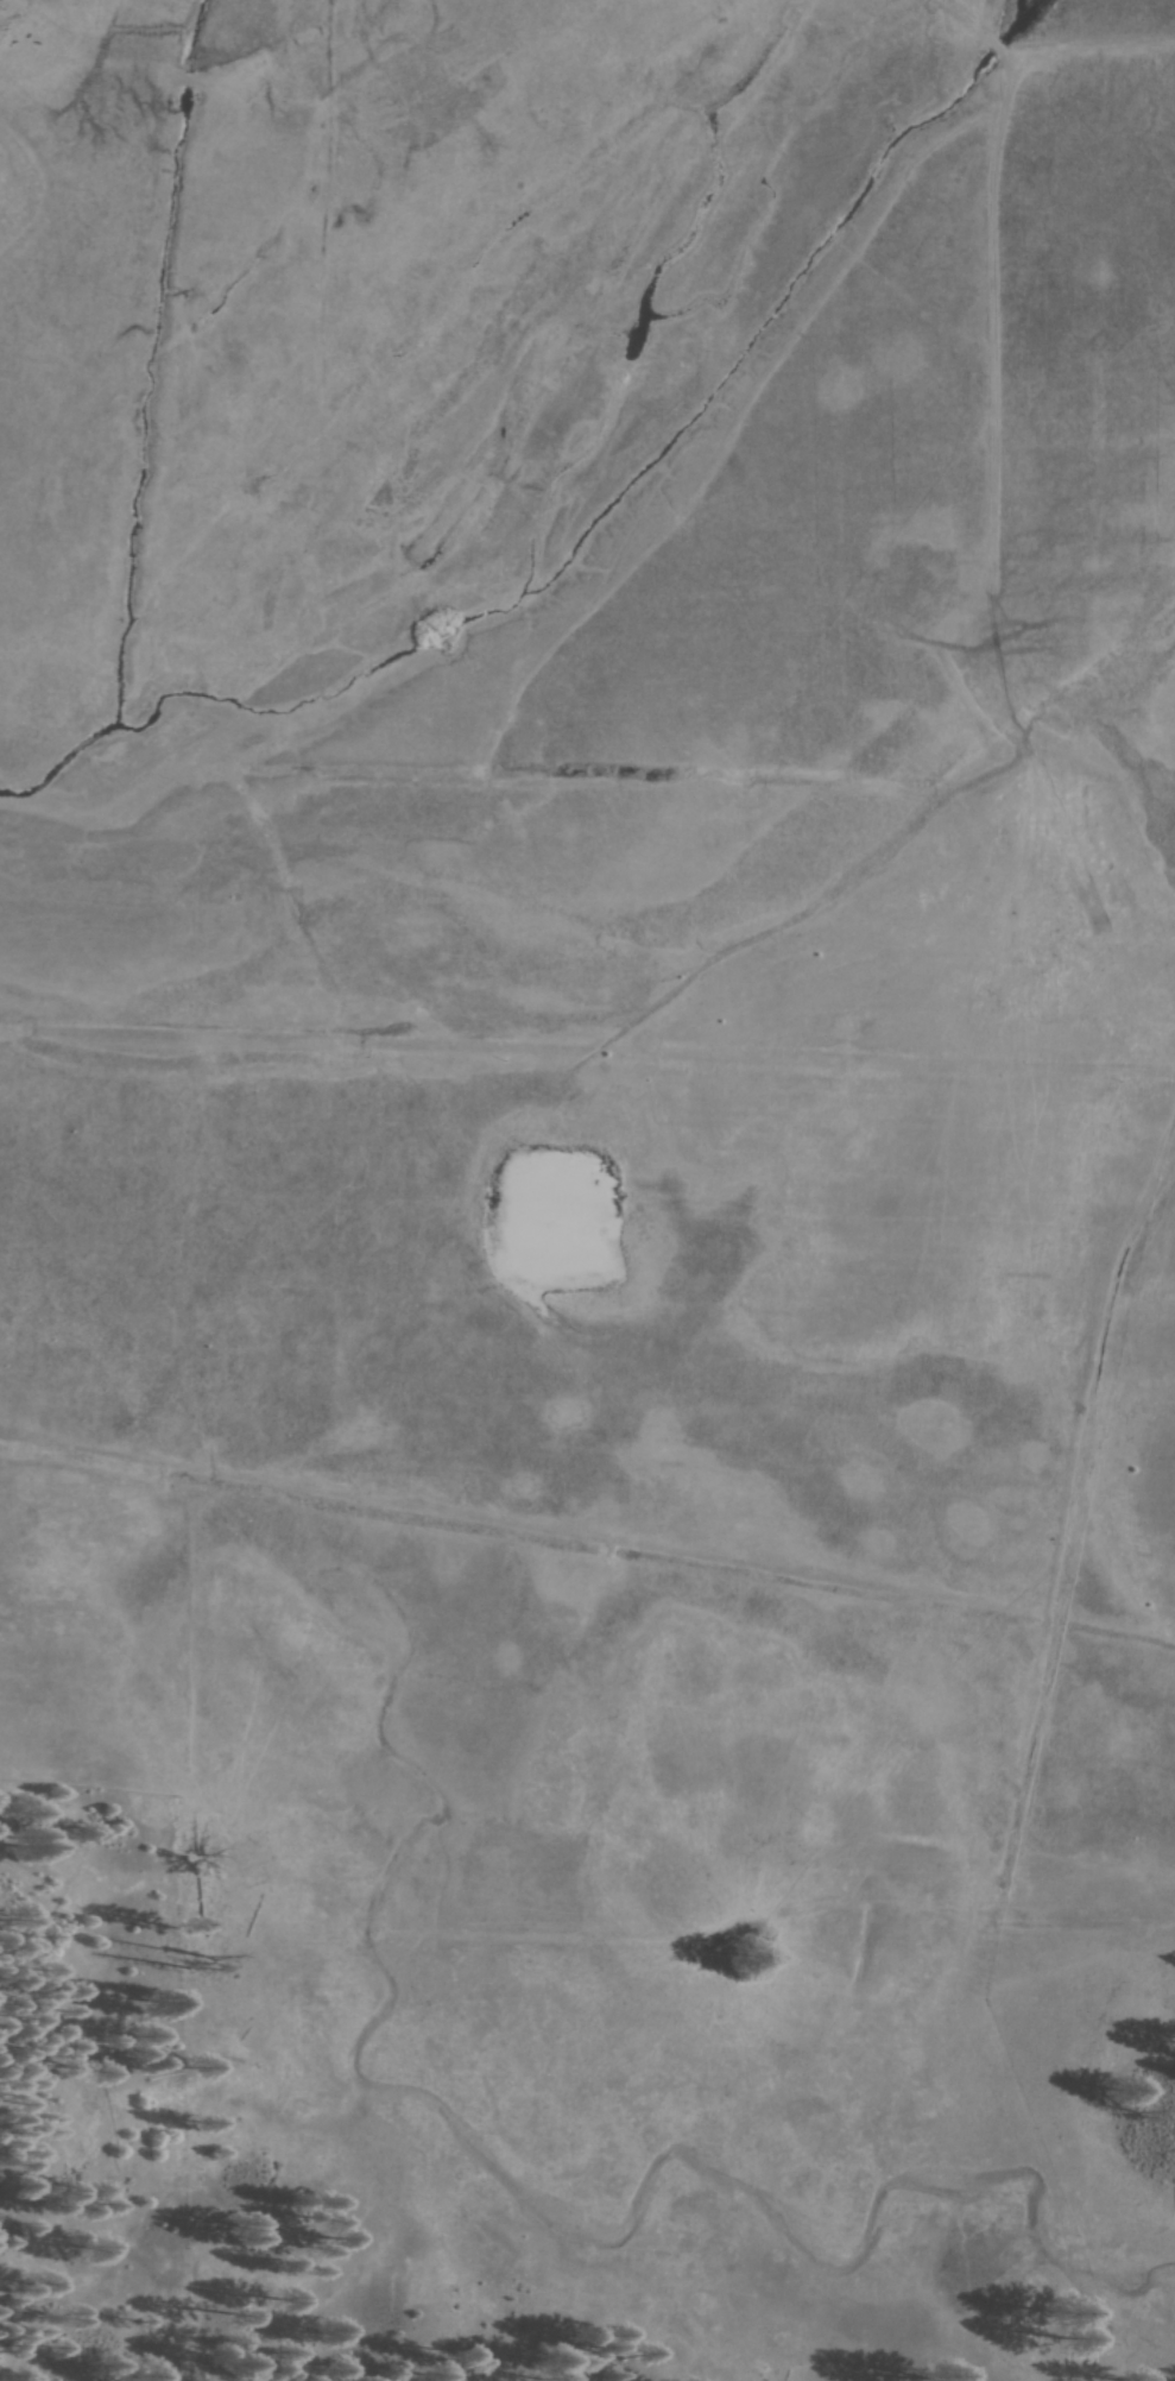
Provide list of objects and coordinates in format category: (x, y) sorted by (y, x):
wastewater plant: (551, 1205)
road: (587, 1539)

